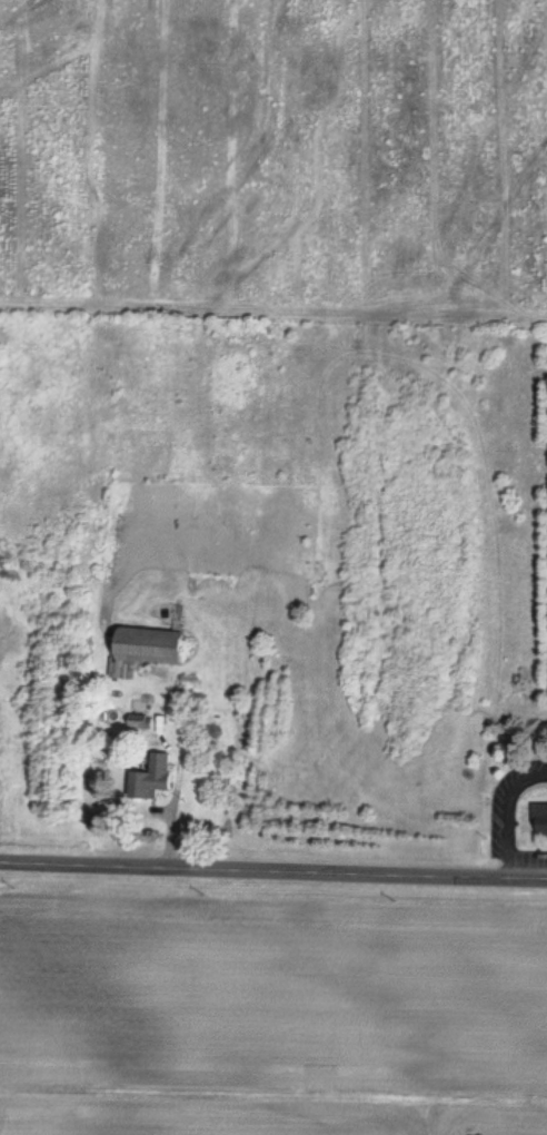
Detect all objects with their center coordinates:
building: (143, 648)
building: (148, 779)
building: (539, 819)
road: (273, 868)

